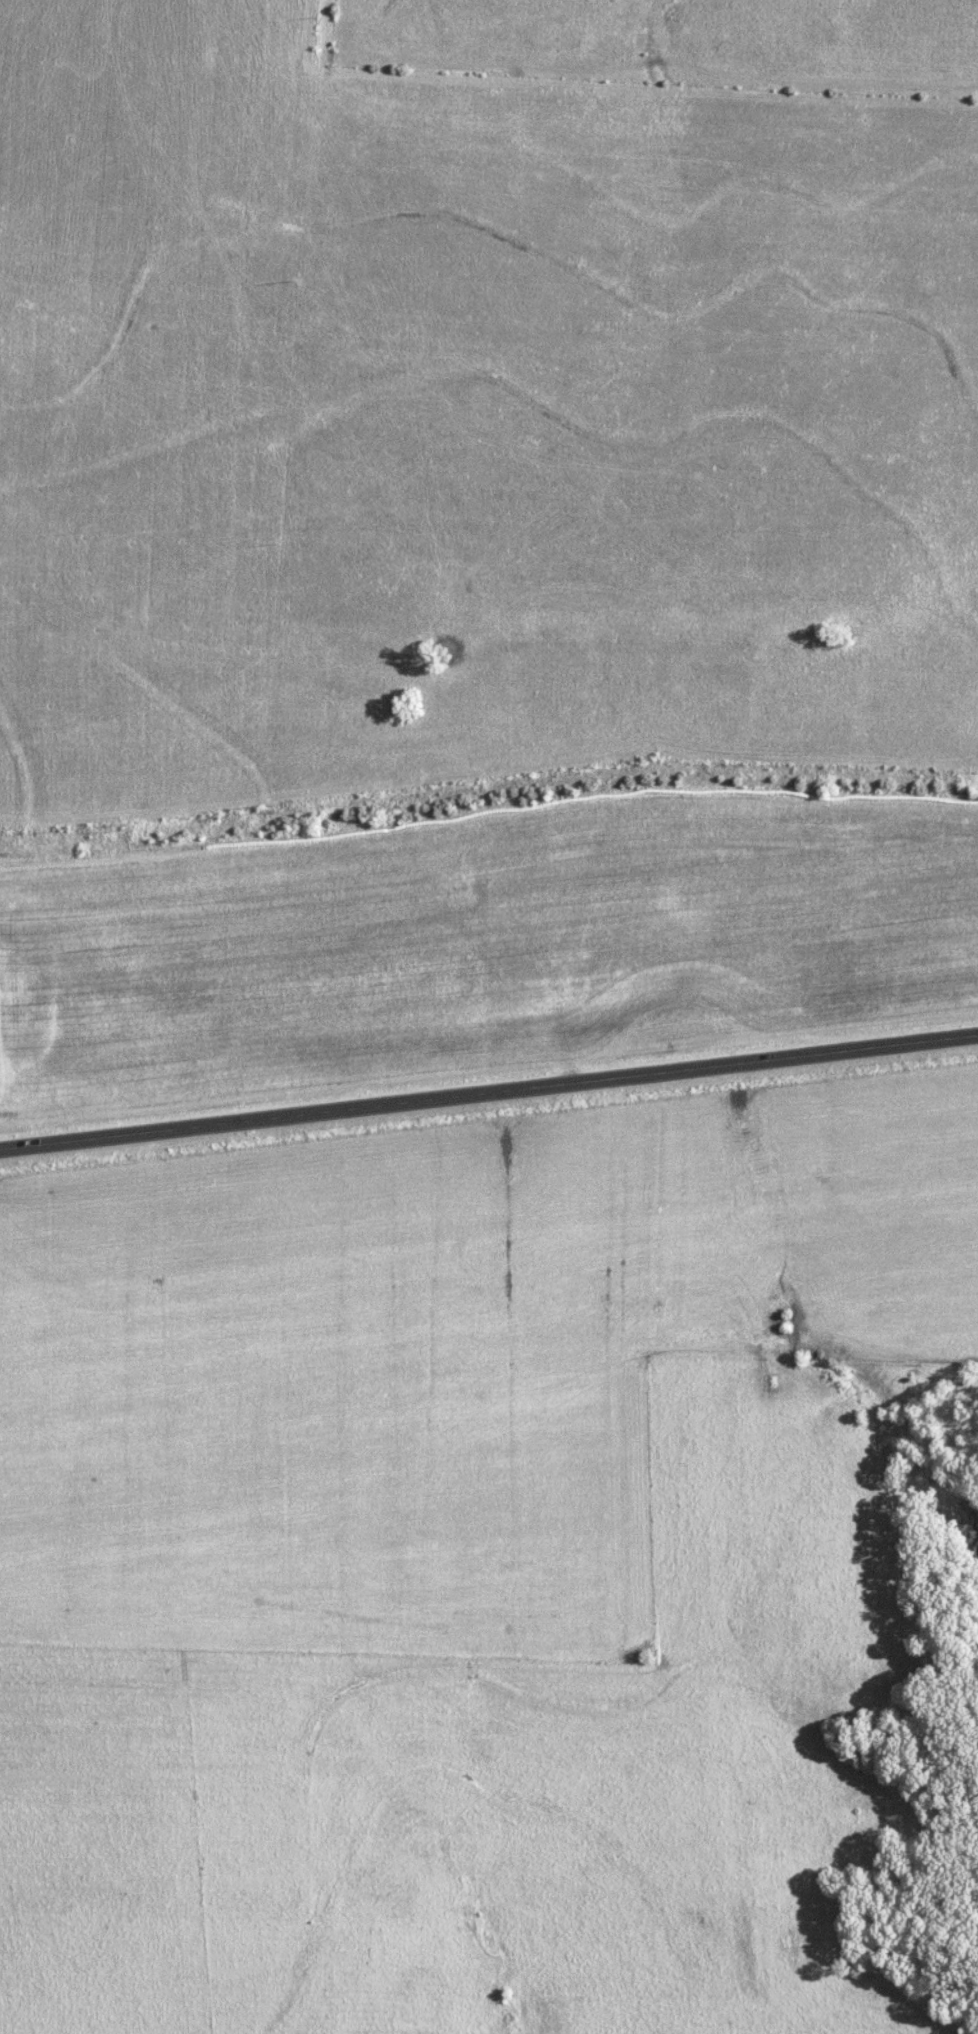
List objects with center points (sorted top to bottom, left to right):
building: (16, 134)
building: (144, 199)
building: (376, 266)
building: (574, 321)
building: (540, 347)
building: (933, 370)
building: (483, 456)
building: (803, 462)
building: (259, 472)
building: (408, 586)
building: (337, 609)
building: (185, 614)
road: (489, 1088)

